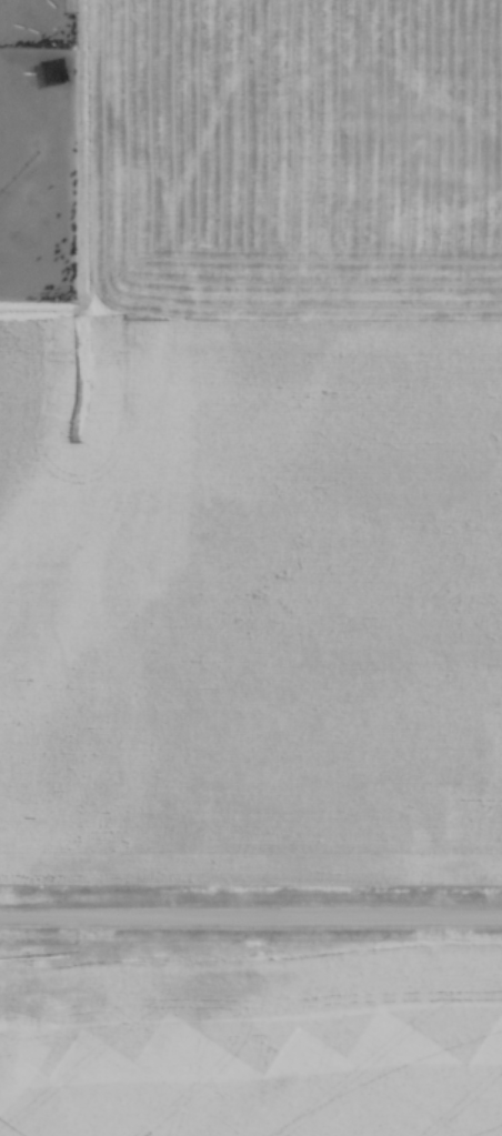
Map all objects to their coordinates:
road: (251, 922)

